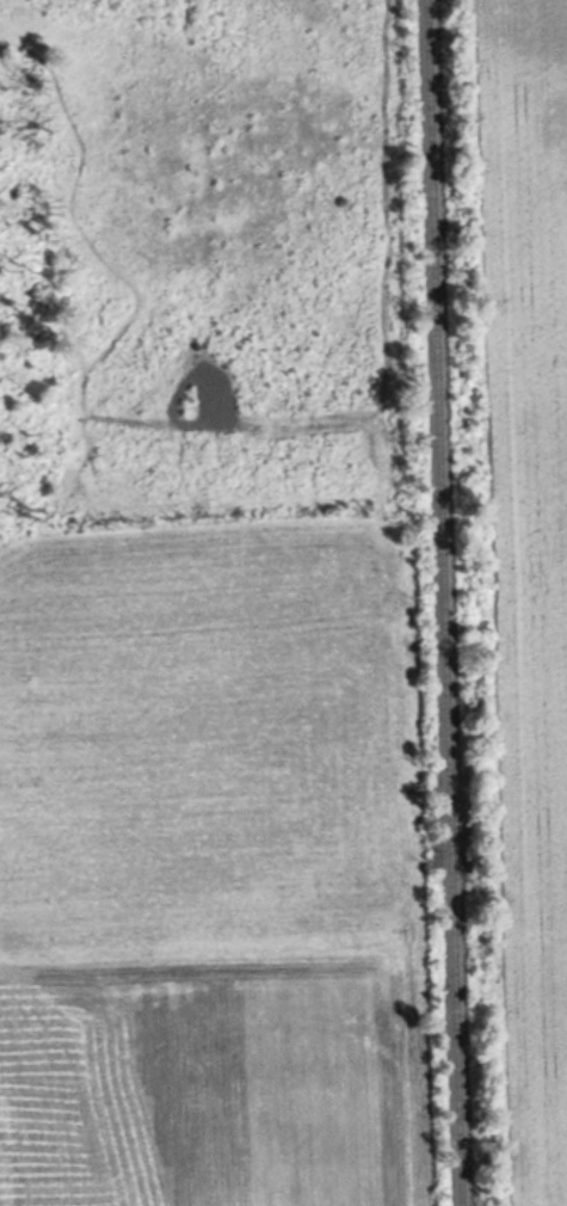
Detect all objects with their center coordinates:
railway: (445, 602)

